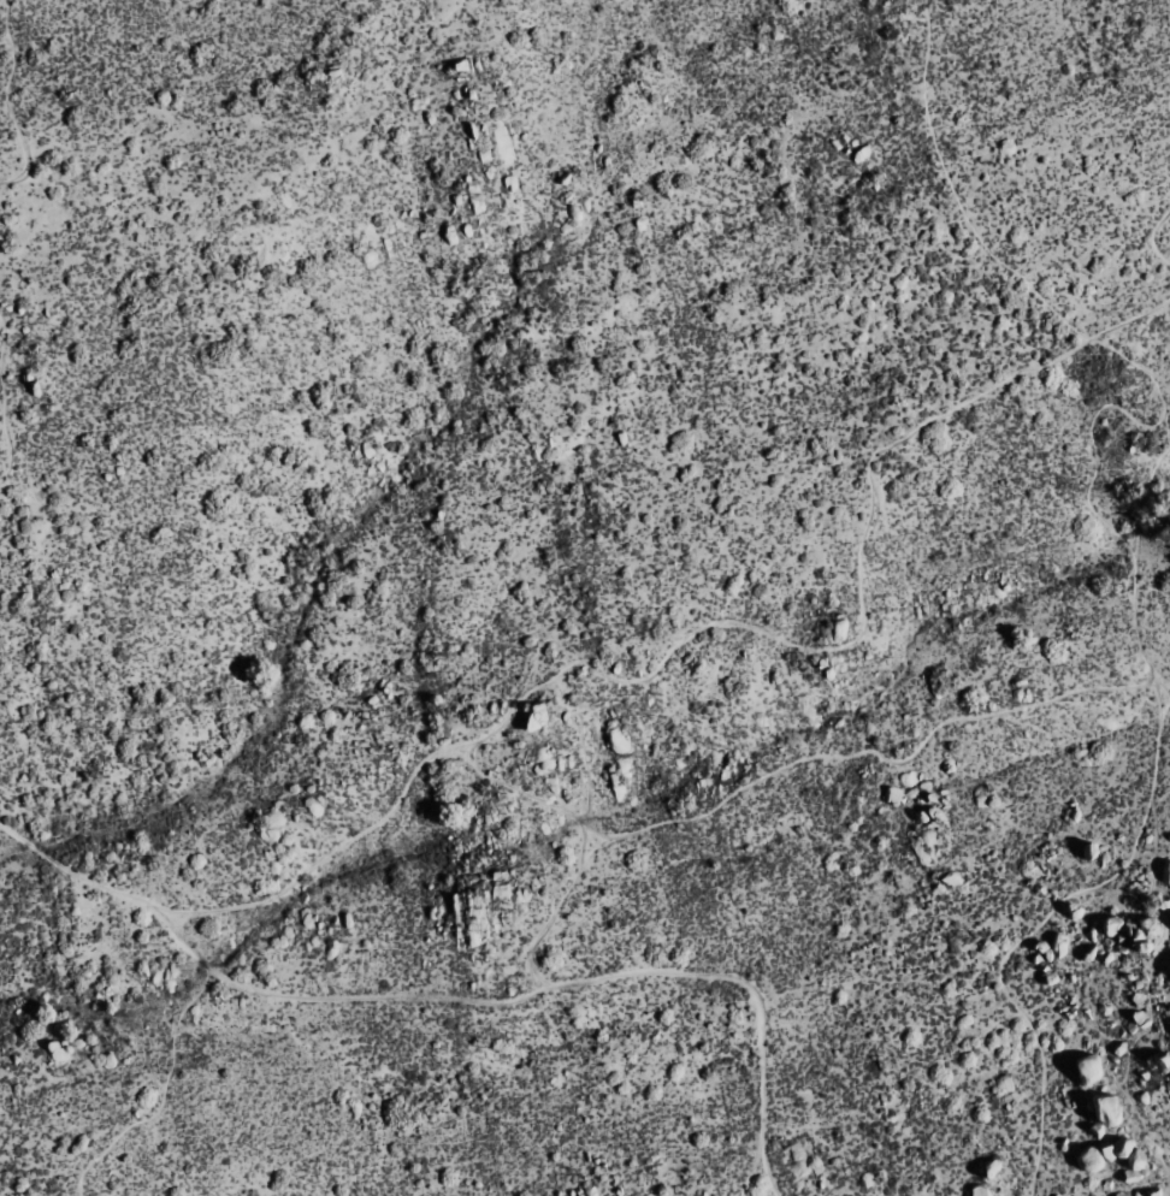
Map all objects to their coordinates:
road: (1152, 232)
building: (835, 629)
building: (892, 793)
road: (1128, 857)
building: (947, 886)
building: (1169, 914)
building: (1110, 925)
building: (1160, 1059)
building: (1086, 1067)
building: (1104, 1111)
building: (1134, 1157)
building: (979, 1191)
building: (1054, 1194)

